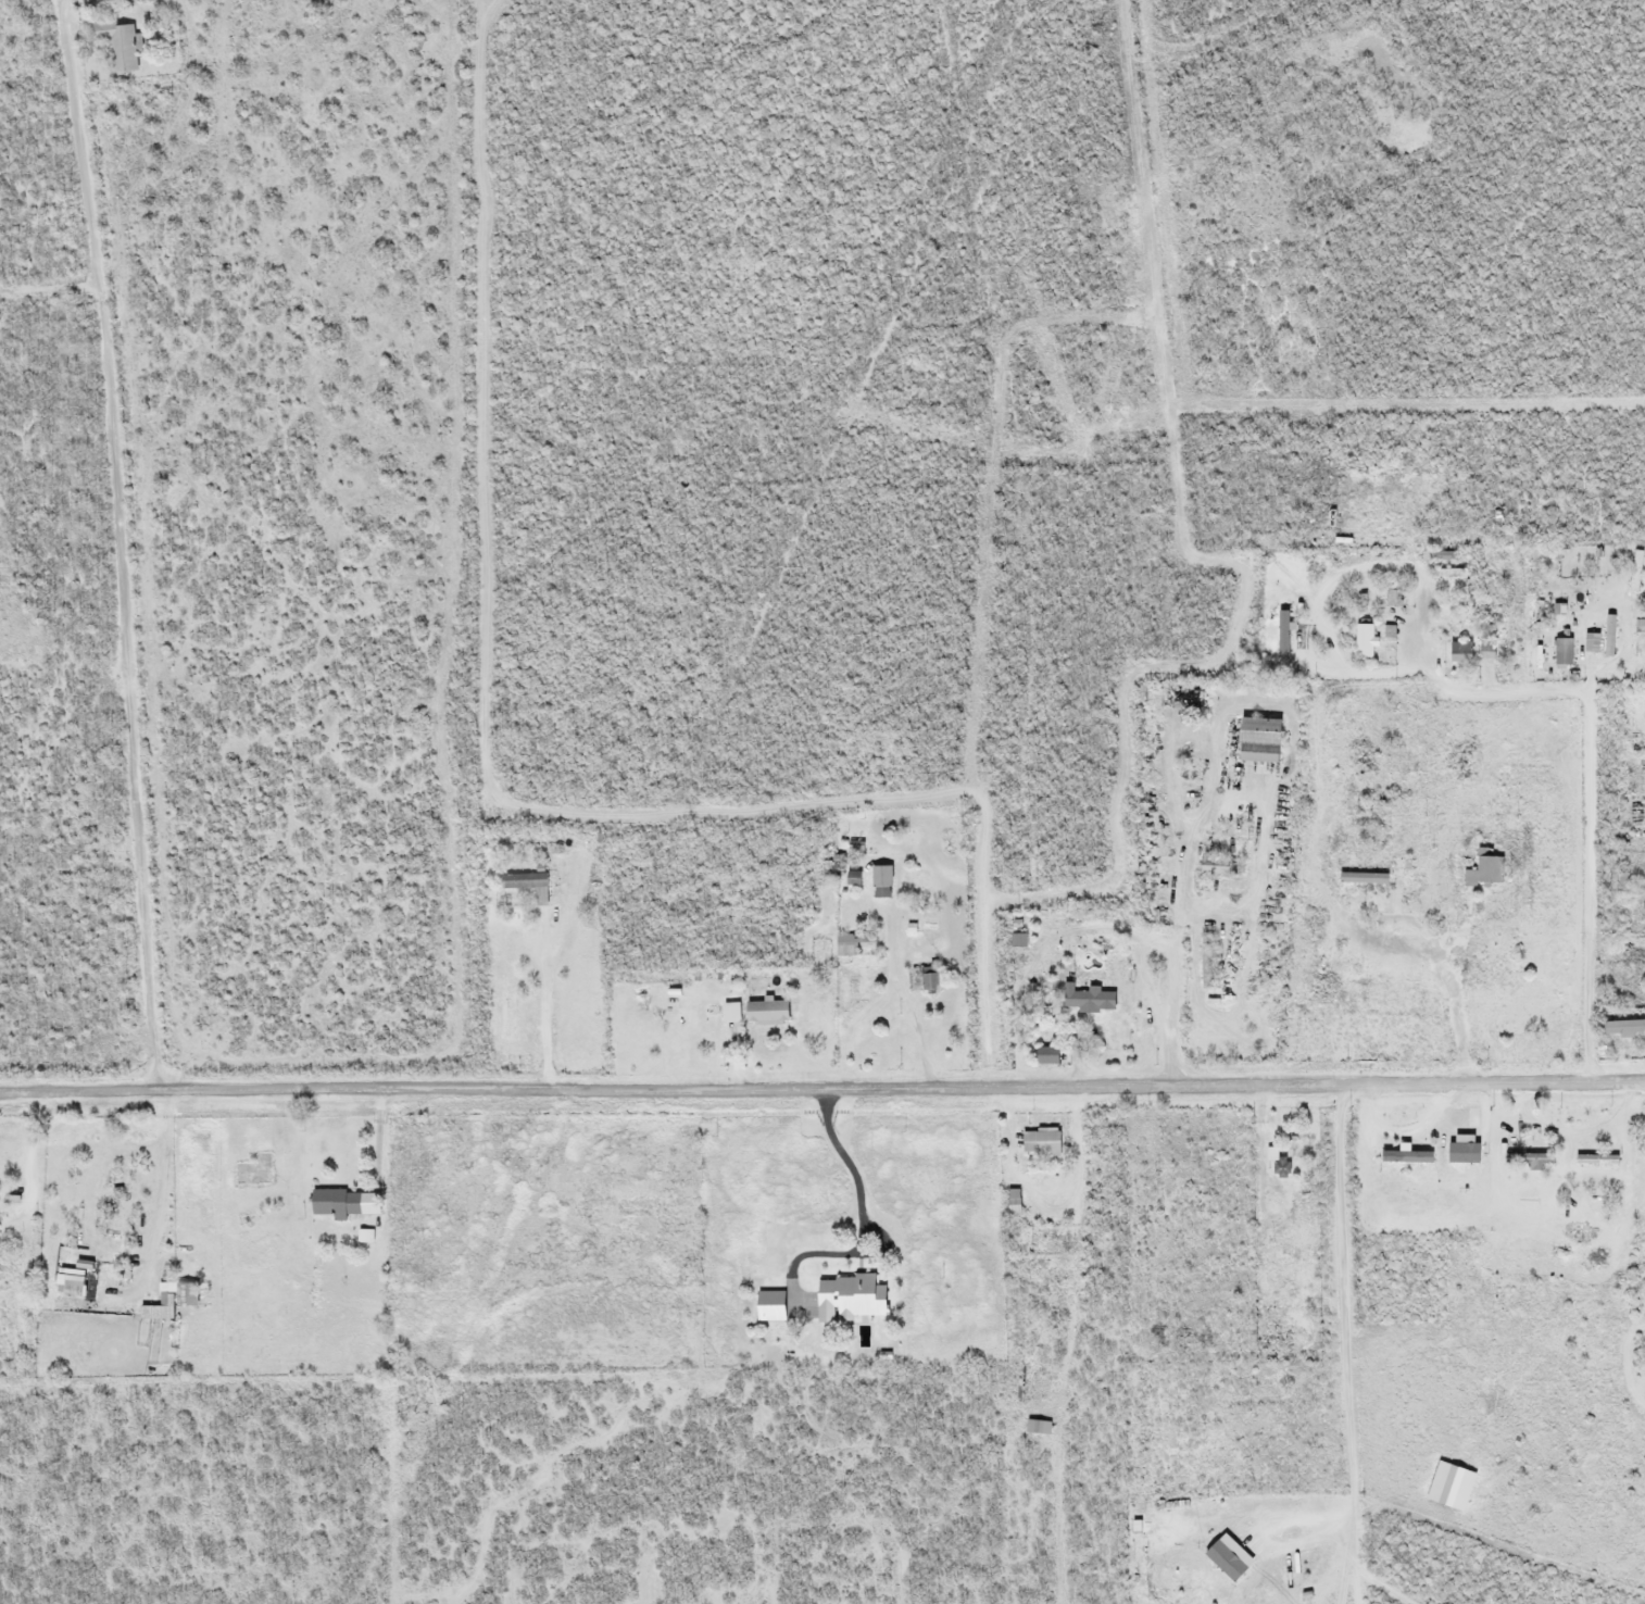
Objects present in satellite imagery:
building: (124, 48)
road: (115, 542)
building: (1634, 571)
building: (1447, 585)
building: (1391, 598)
building: (1607, 636)
building: (1290, 638)
building: (1361, 640)
building: (1587, 642)
building: (1457, 652)
building: (1560, 652)
building: (1254, 740)
road: (1586, 816)
building: (1214, 866)
building: (1480, 873)
building: (529, 884)
building: (879, 884)
building: (1016, 940)
building: (850, 943)
building: (1202, 964)
building: (927, 978)
building: (1085, 999)
building: (754, 1012)
building: (728, 1013)
building: (512, 1014)
building: (1619, 1028)
building: (517, 1061)
road: (821, 1083)
building: (1042, 1142)
building: (1405, 1156)
building: (1278, 1167)
building: (1188, 1196)
building: (1010, 1200)
building: (339, 1202)
building: (0, 1223)
building: (74, 1280)
building: (168, 1292)
building: (196, 1294)
building: (846, 1295)
road: (1341, 1342)
building: (1034, 1426)

